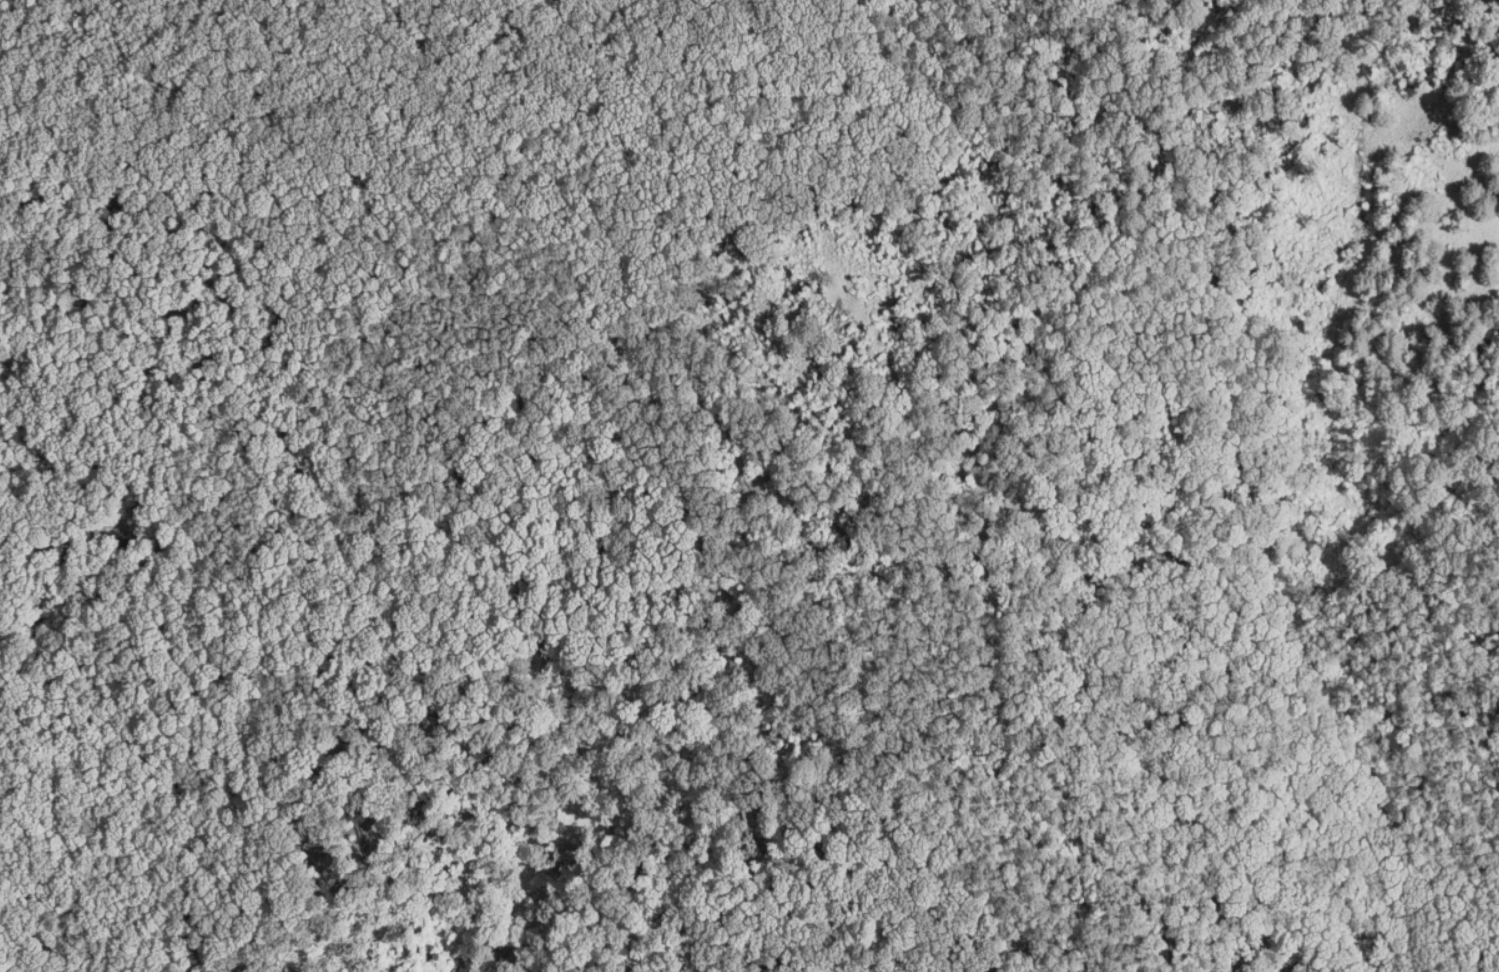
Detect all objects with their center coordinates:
road: (1118, 40)

